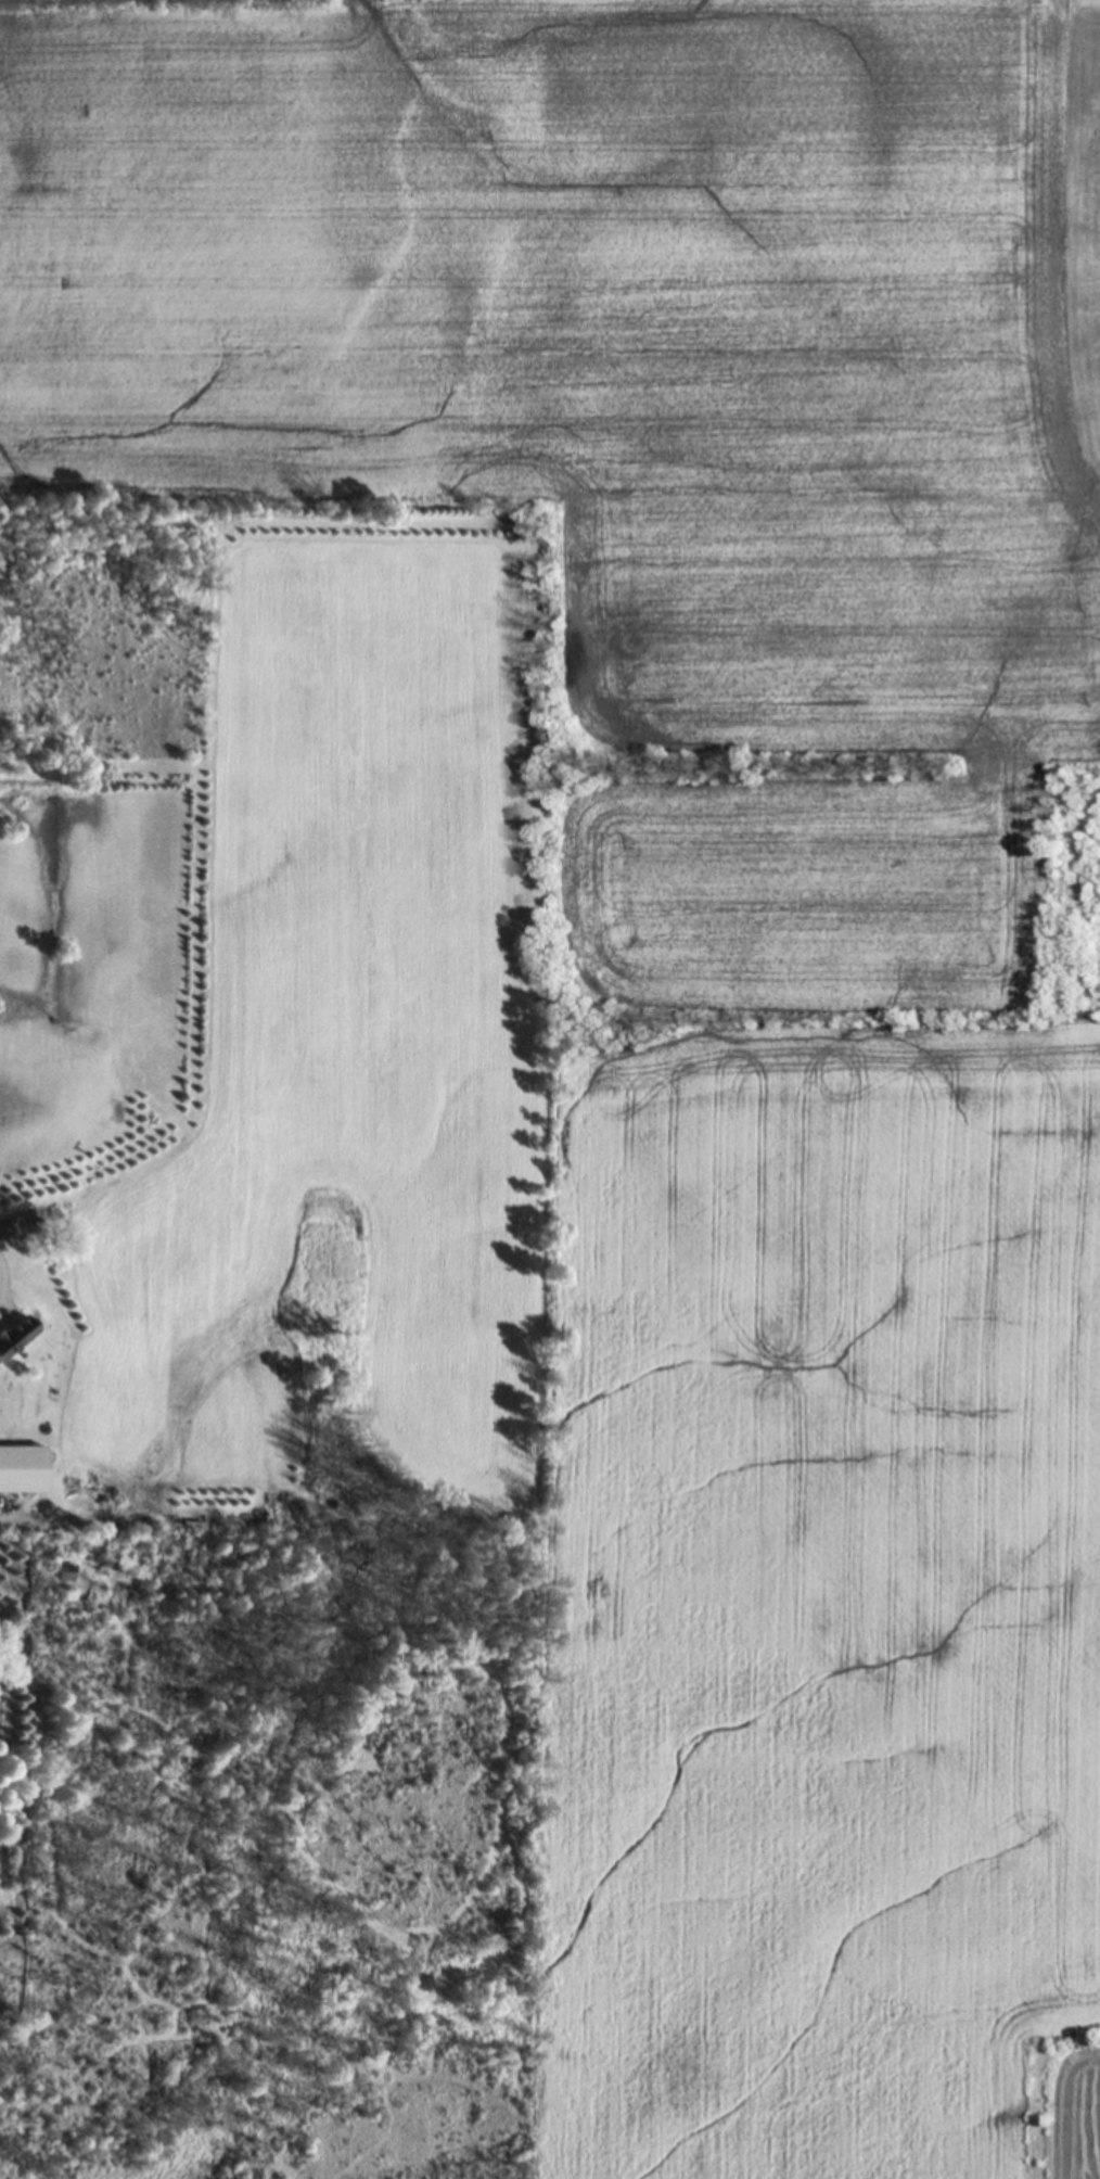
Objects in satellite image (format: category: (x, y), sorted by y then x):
building: (14, 1334)
building: (20, 1468)
building: (63, 1571)

